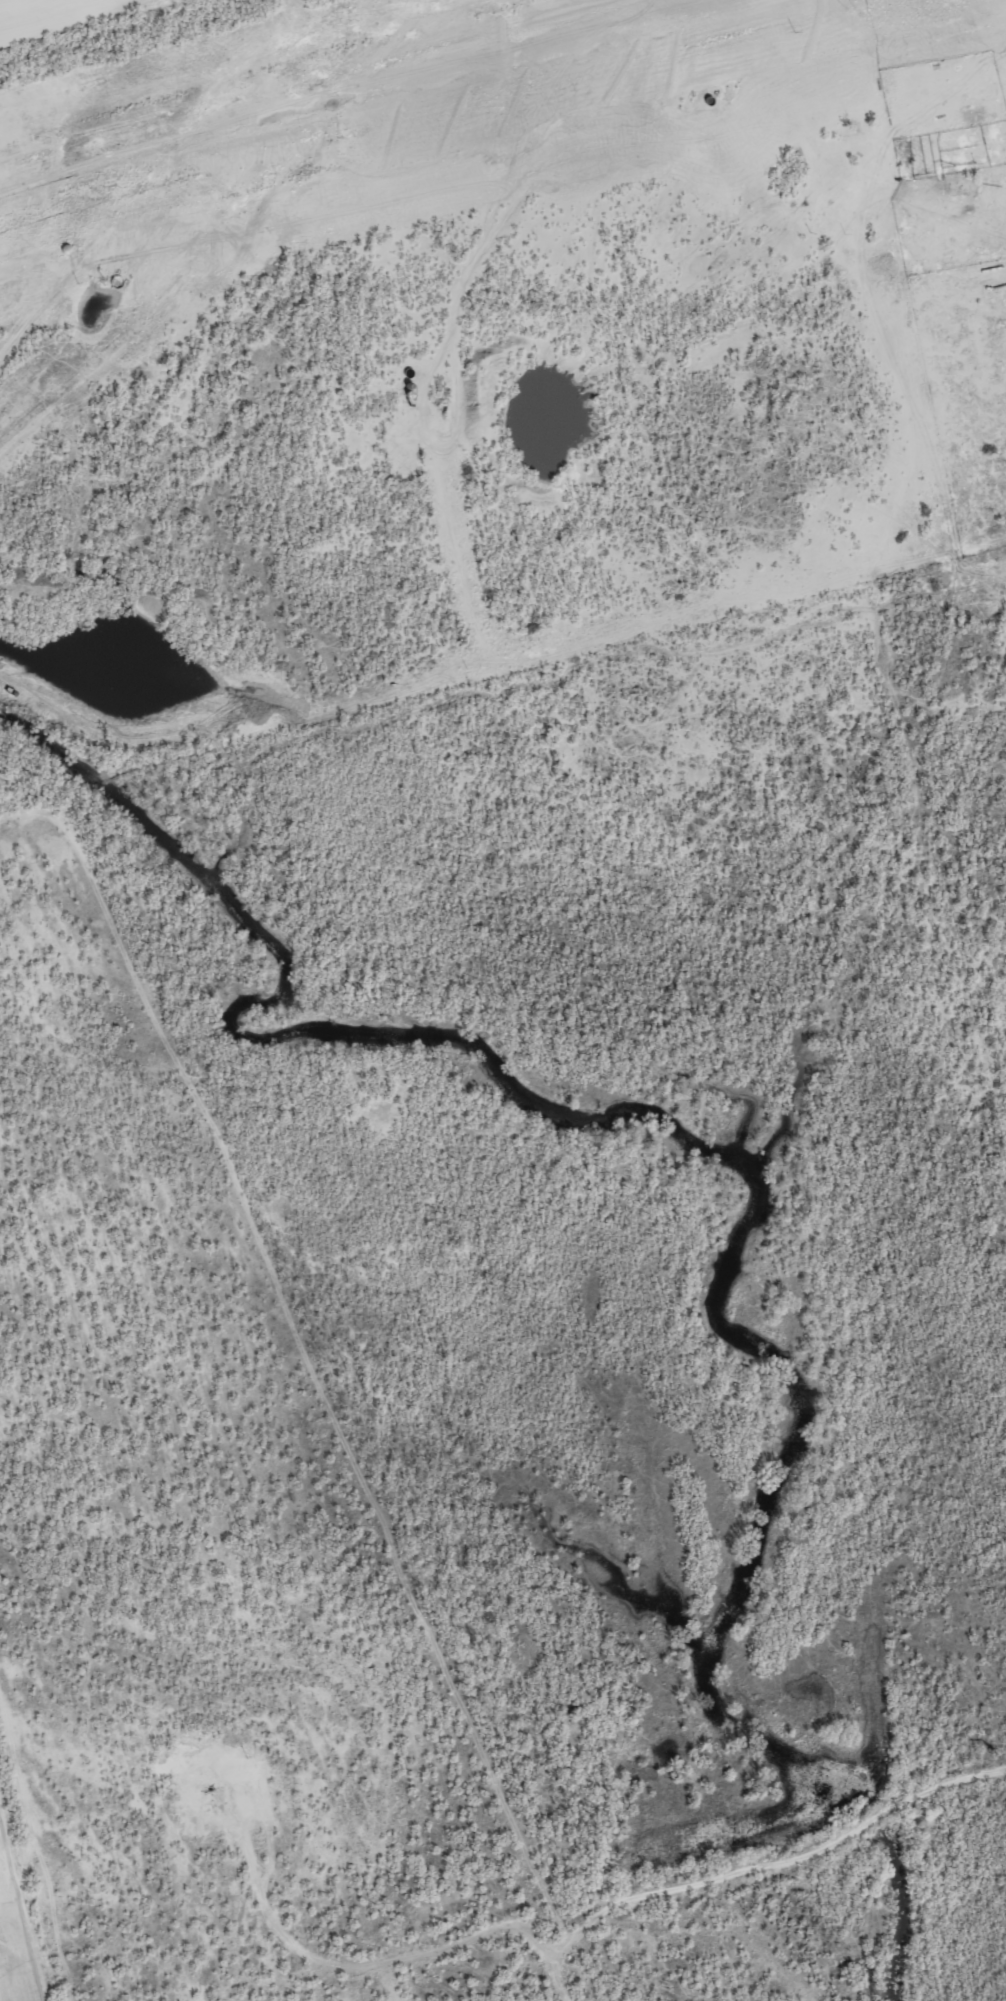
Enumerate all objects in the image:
road: (903, 568)
road: (95, 1084)
road: (23, 1897)
road: (693, 1908)

